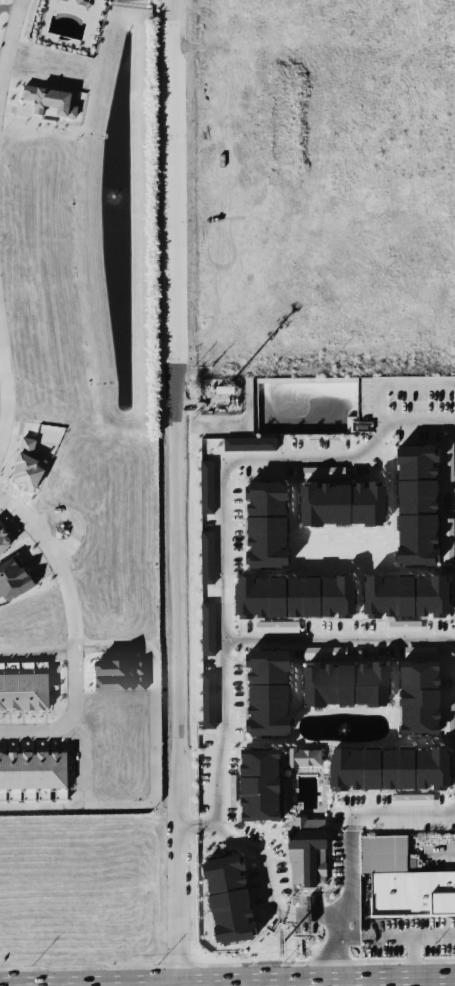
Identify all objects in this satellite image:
building: (74, 3)
road: (10, 39)
building: (49, 100)
road: (5, 389)
building: (249, 444)
road: (176, 449)
road: (254, 454)
building: (447, 459)
building: (206, 487)
building: (342, 508)
building: (417, 509)
building: (266, 528)
building: (447, 539)
building: (4, 543)
building: (206, 557)
road: (58, 565)
building: (13, 579)
building: (408, 596)
building: (295, 599)
building: (403, 626)
building: (276, 627)
building: (207, 629)
road: (230, 638)
road: (37, 652)
building: (323, 652)
building: (419, 652)
building: (1, 668)
building: (109, 675)
building: (347, 683)
building: (23, 692)
building: (267, 693)
building: (421, 696)
building: (207, 700)
building: (447, 718)
road: (66, 719)
building: (303, 757)
road: (81, 759)
road: (152, 762)
building: (390, 768)
building: (33, 770)
building: (260, 784)
building: (230, 791)
building: (410, 799)
road: (350, 814)
building: (310, 851)
building: (410, 864)
road: (266, 880)
building: (404, 880)
building: (228, 897)
road: (434, 936)
road: (353, 937)
road: (413, 938)
road: (178, 941)
road: (335, 947)
road: (376, 981)
road: (238, 983)
road: (296, 984)
road: (106, 985)
road: (178, 985)

